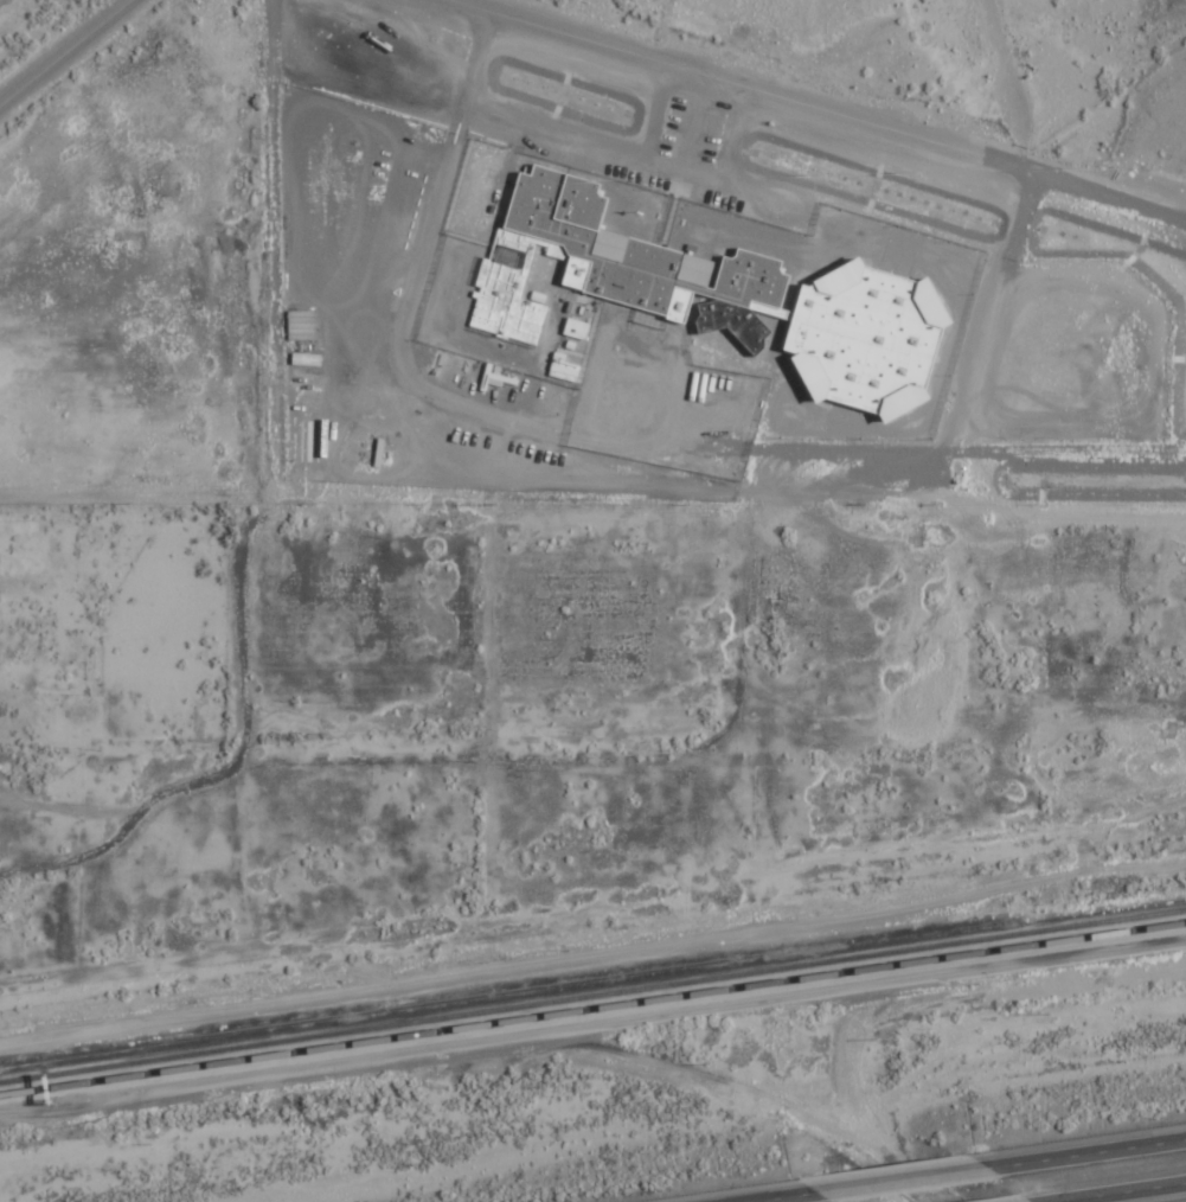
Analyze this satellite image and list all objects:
road: (94, 45)
road: (28, 114)
building: (749, 295)
building: (506, 303)
building: (303, 325)
building: (577, 328)
building: (565, 369)
road: (115, 494)
railway: (1109, 919)
railway: (487, 993)
railway: (515, 1004)
railway: (592, 1006)
railway: (492, 1034)
road: (592, 1068)
road: (1089, 1153)
road: (905, 1182)
road: (1122, 1193)
road: (795, 1198)

